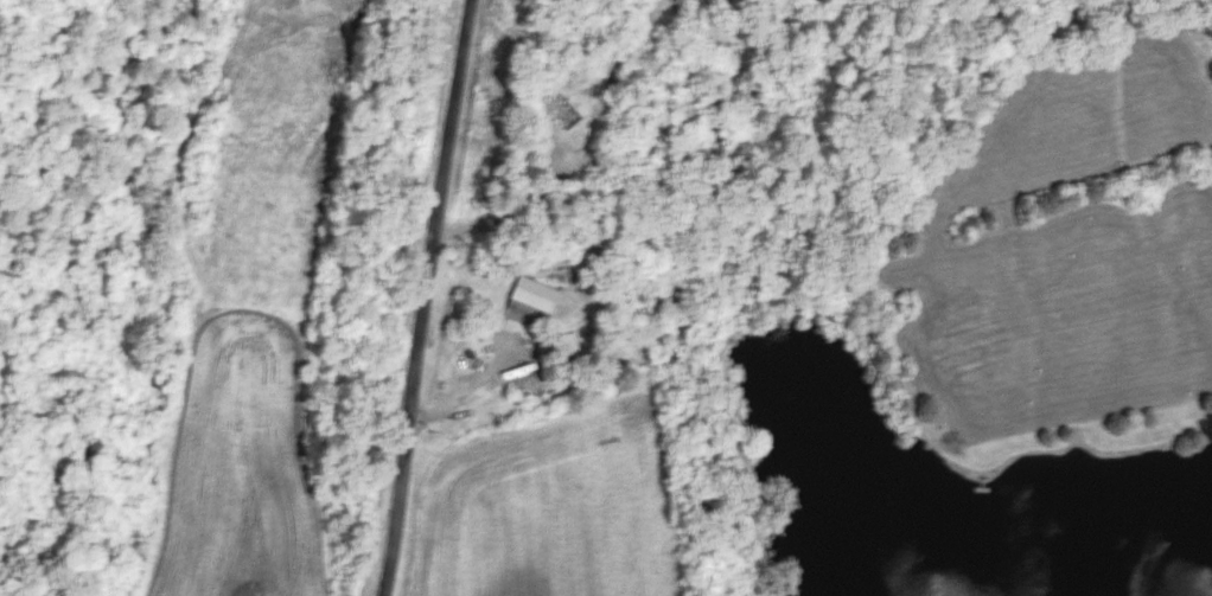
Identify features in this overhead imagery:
building: (563, 110)
building: (537, 294)
road: (423, 297)
building: (554, 350)

